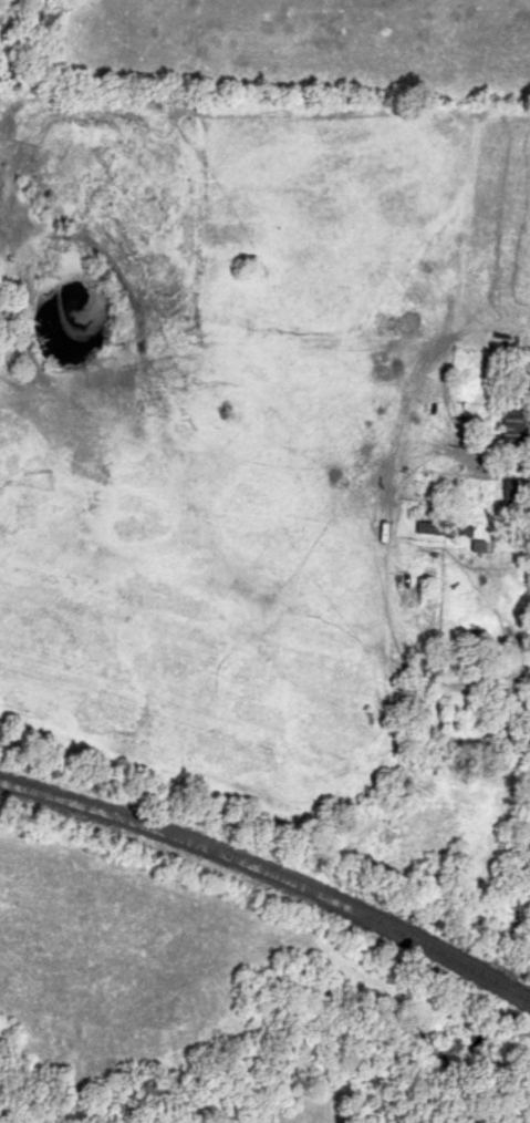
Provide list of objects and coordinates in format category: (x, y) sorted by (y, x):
crop: (4, 7)
crop: (304, 55)
crop: (236, 424)
building: (511, 425)
building: (443, 528)
building: (477, 546)
building: (418, 588)
building: (522, 732)
railway: (271, 874)

